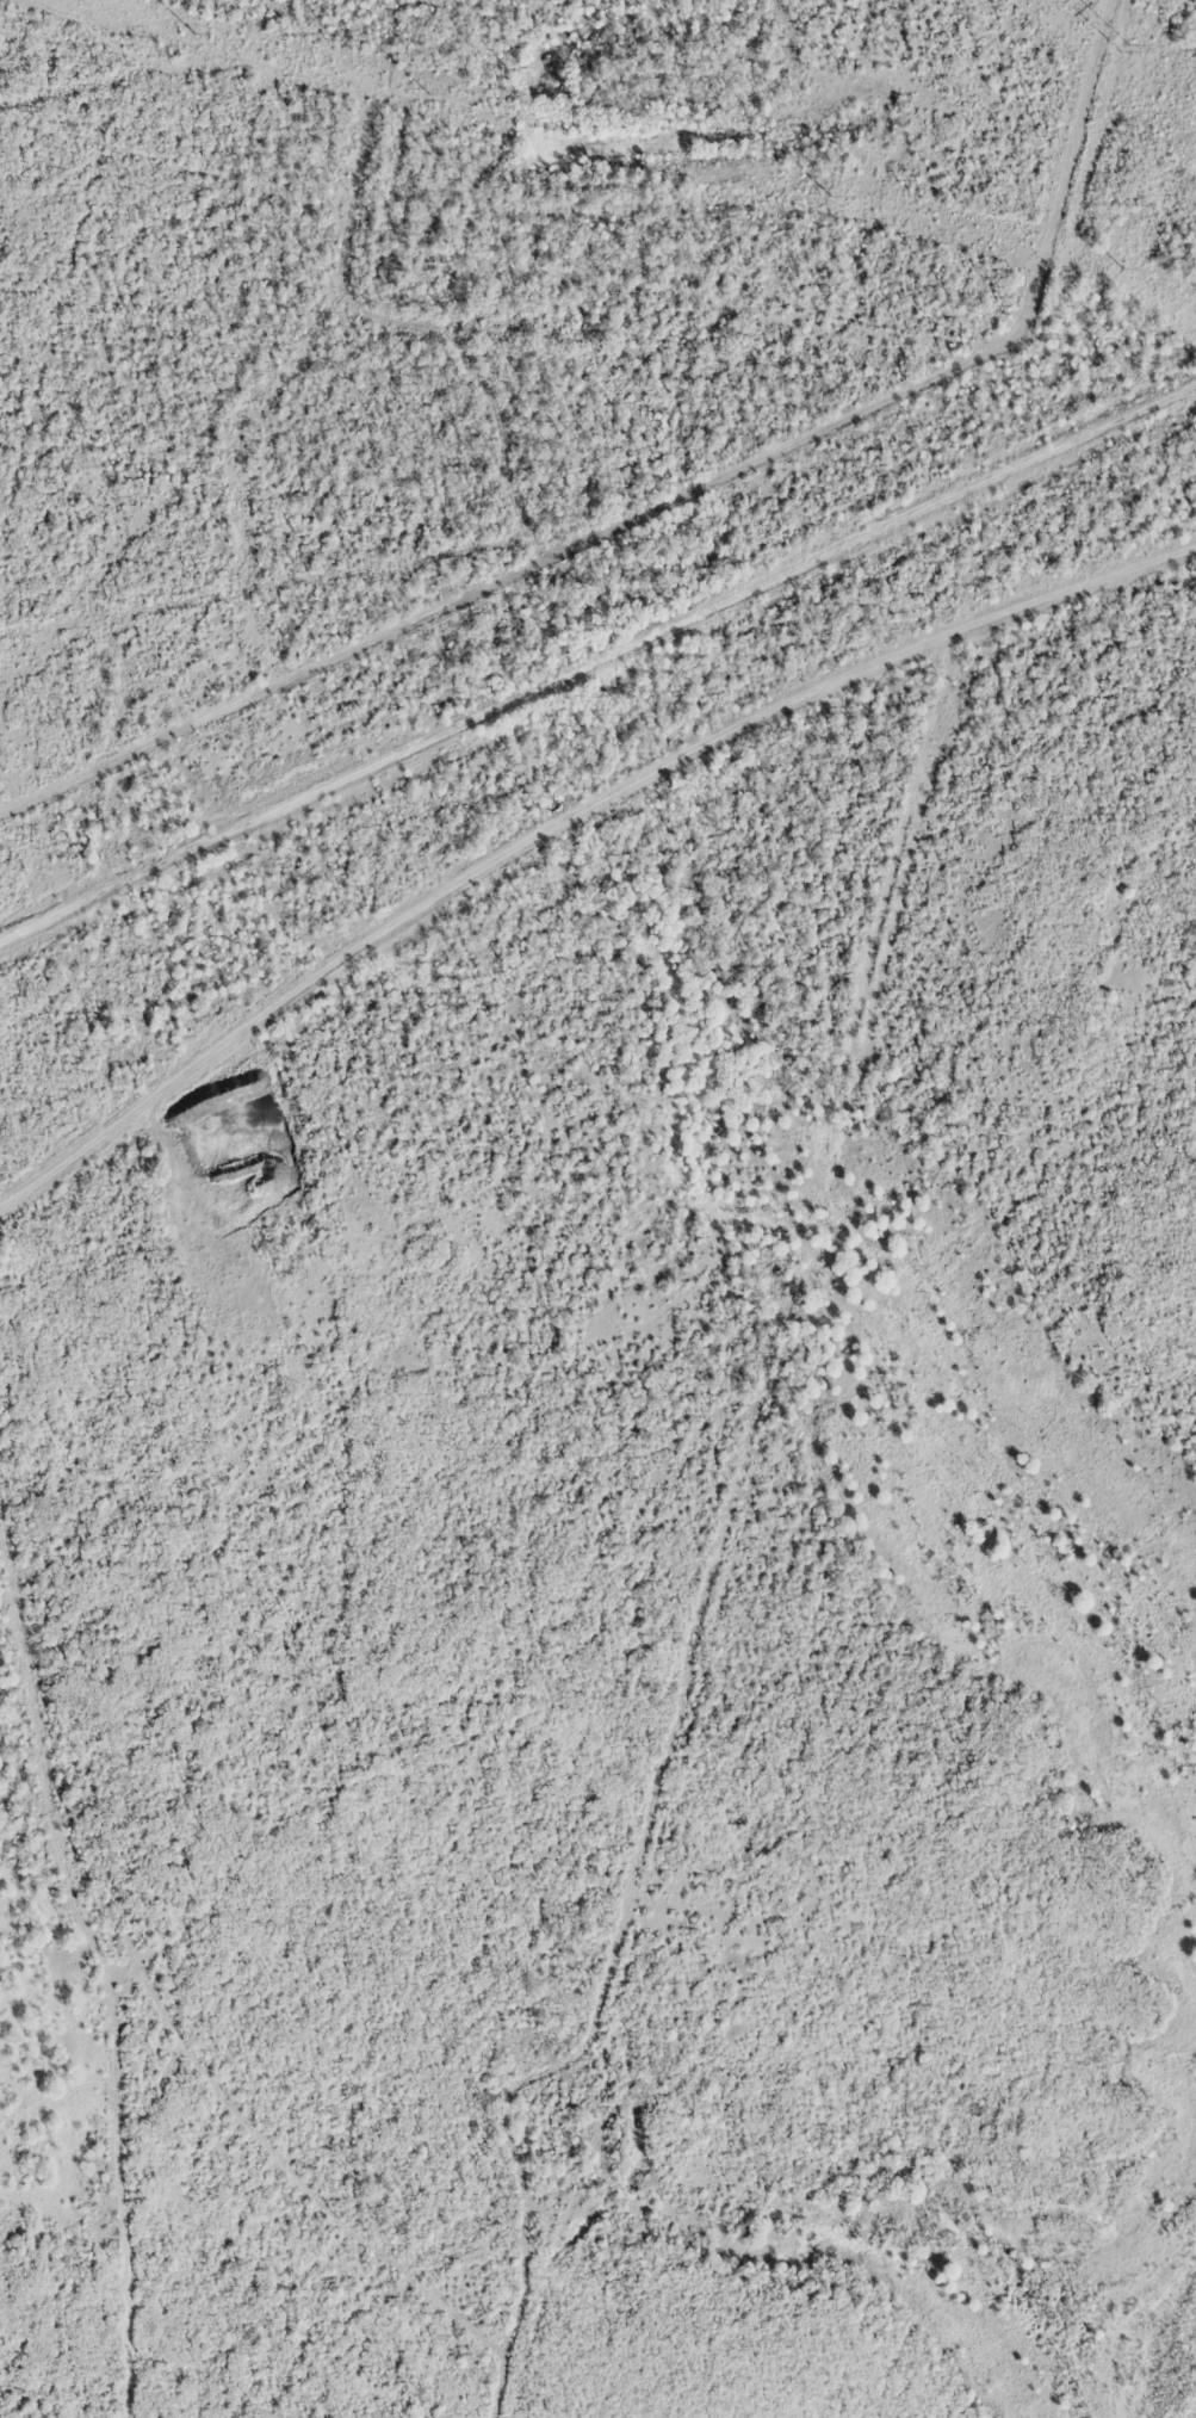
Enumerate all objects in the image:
power tower: (194, 33)
power tower: (1124, 48)
power tower: (428, 93)
power tower: (829, 196)
power tower: (1122, 268)
road: (597, 657)
road: (565, 815)

